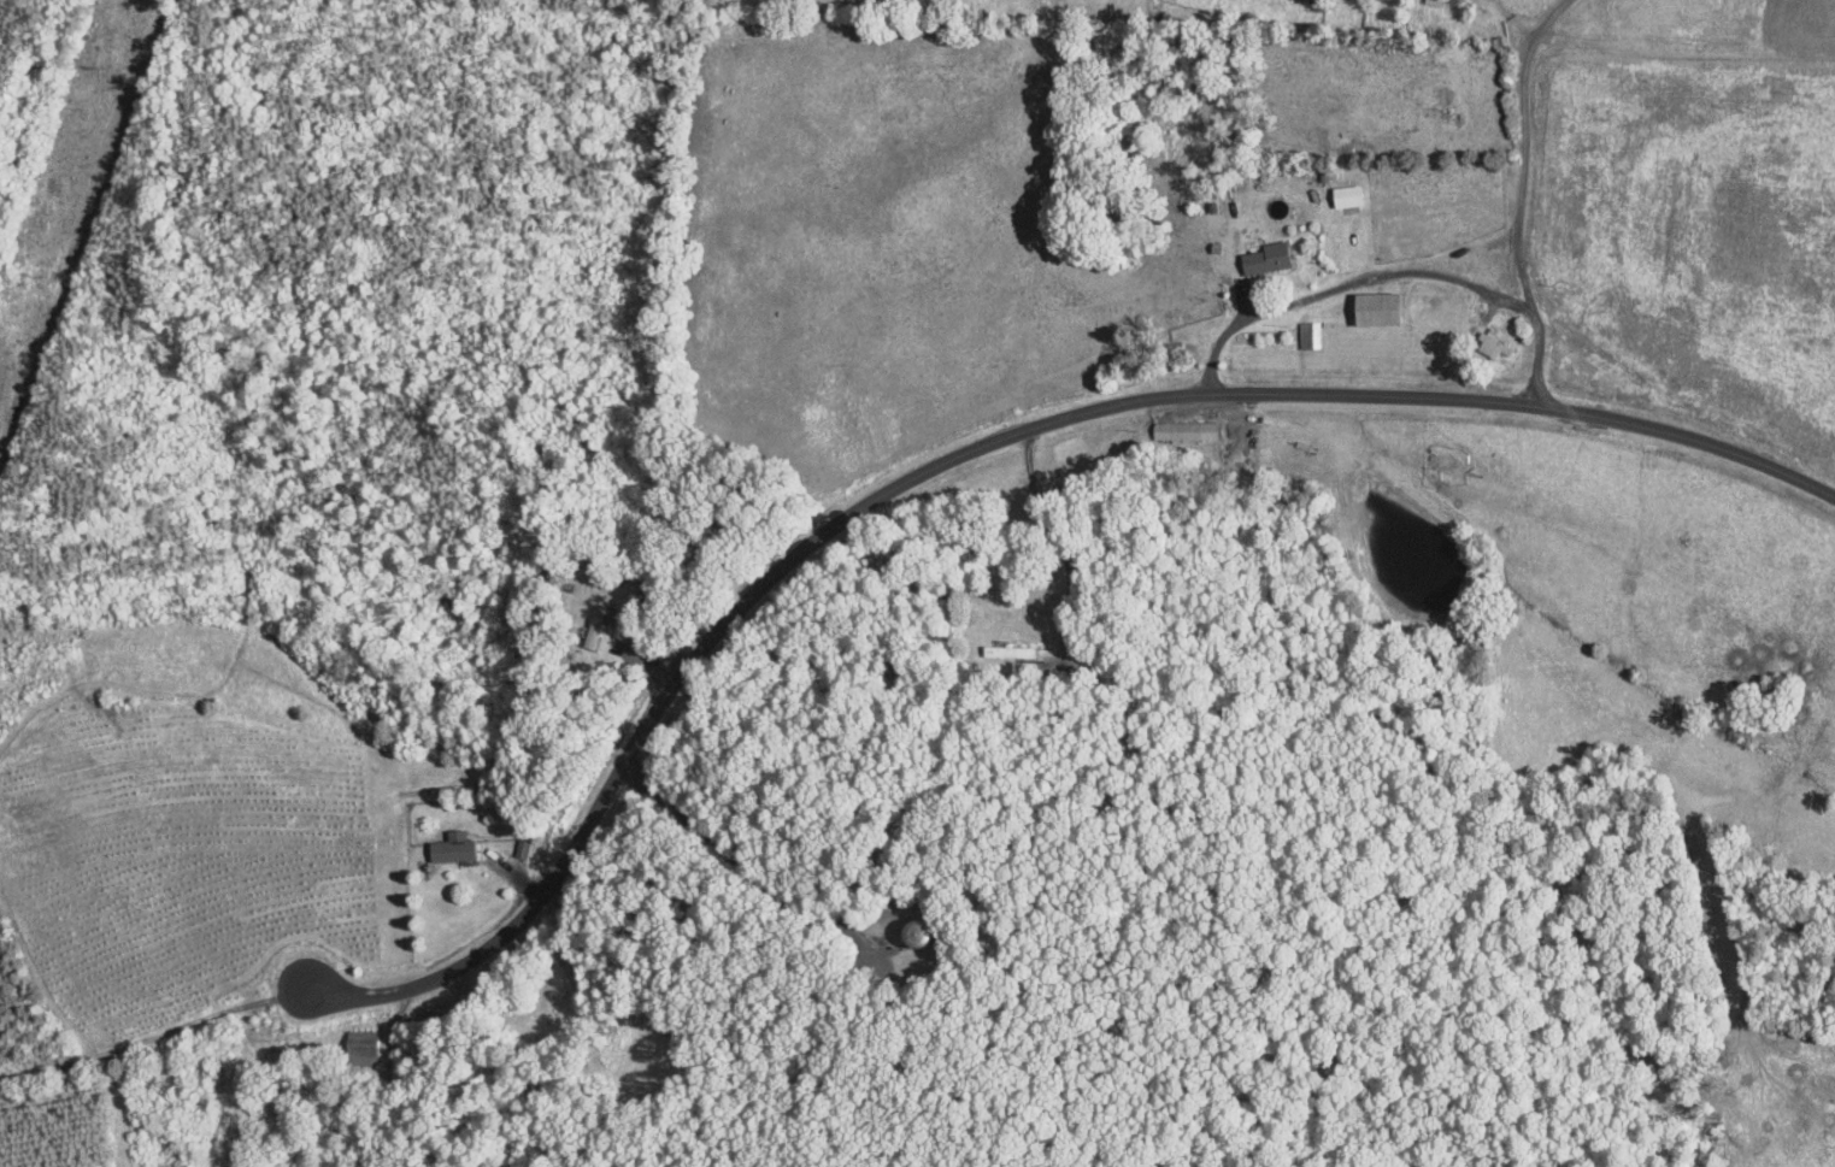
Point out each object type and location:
power tower: (106, 69)
building: (1343, 195)
road: (1519, 198)
building: (1263, 258)
road: (1348, 282)
building: (1371, 308)
building: (1306, 335)
building: (1492, 344)
building: (1184, 429)
road: (833, 524)
road: (1060, 541)
building: (595, 626)
building: (1005, 649)
building: (448, 845)
building: (907, 931)
building: (363, 1045)

